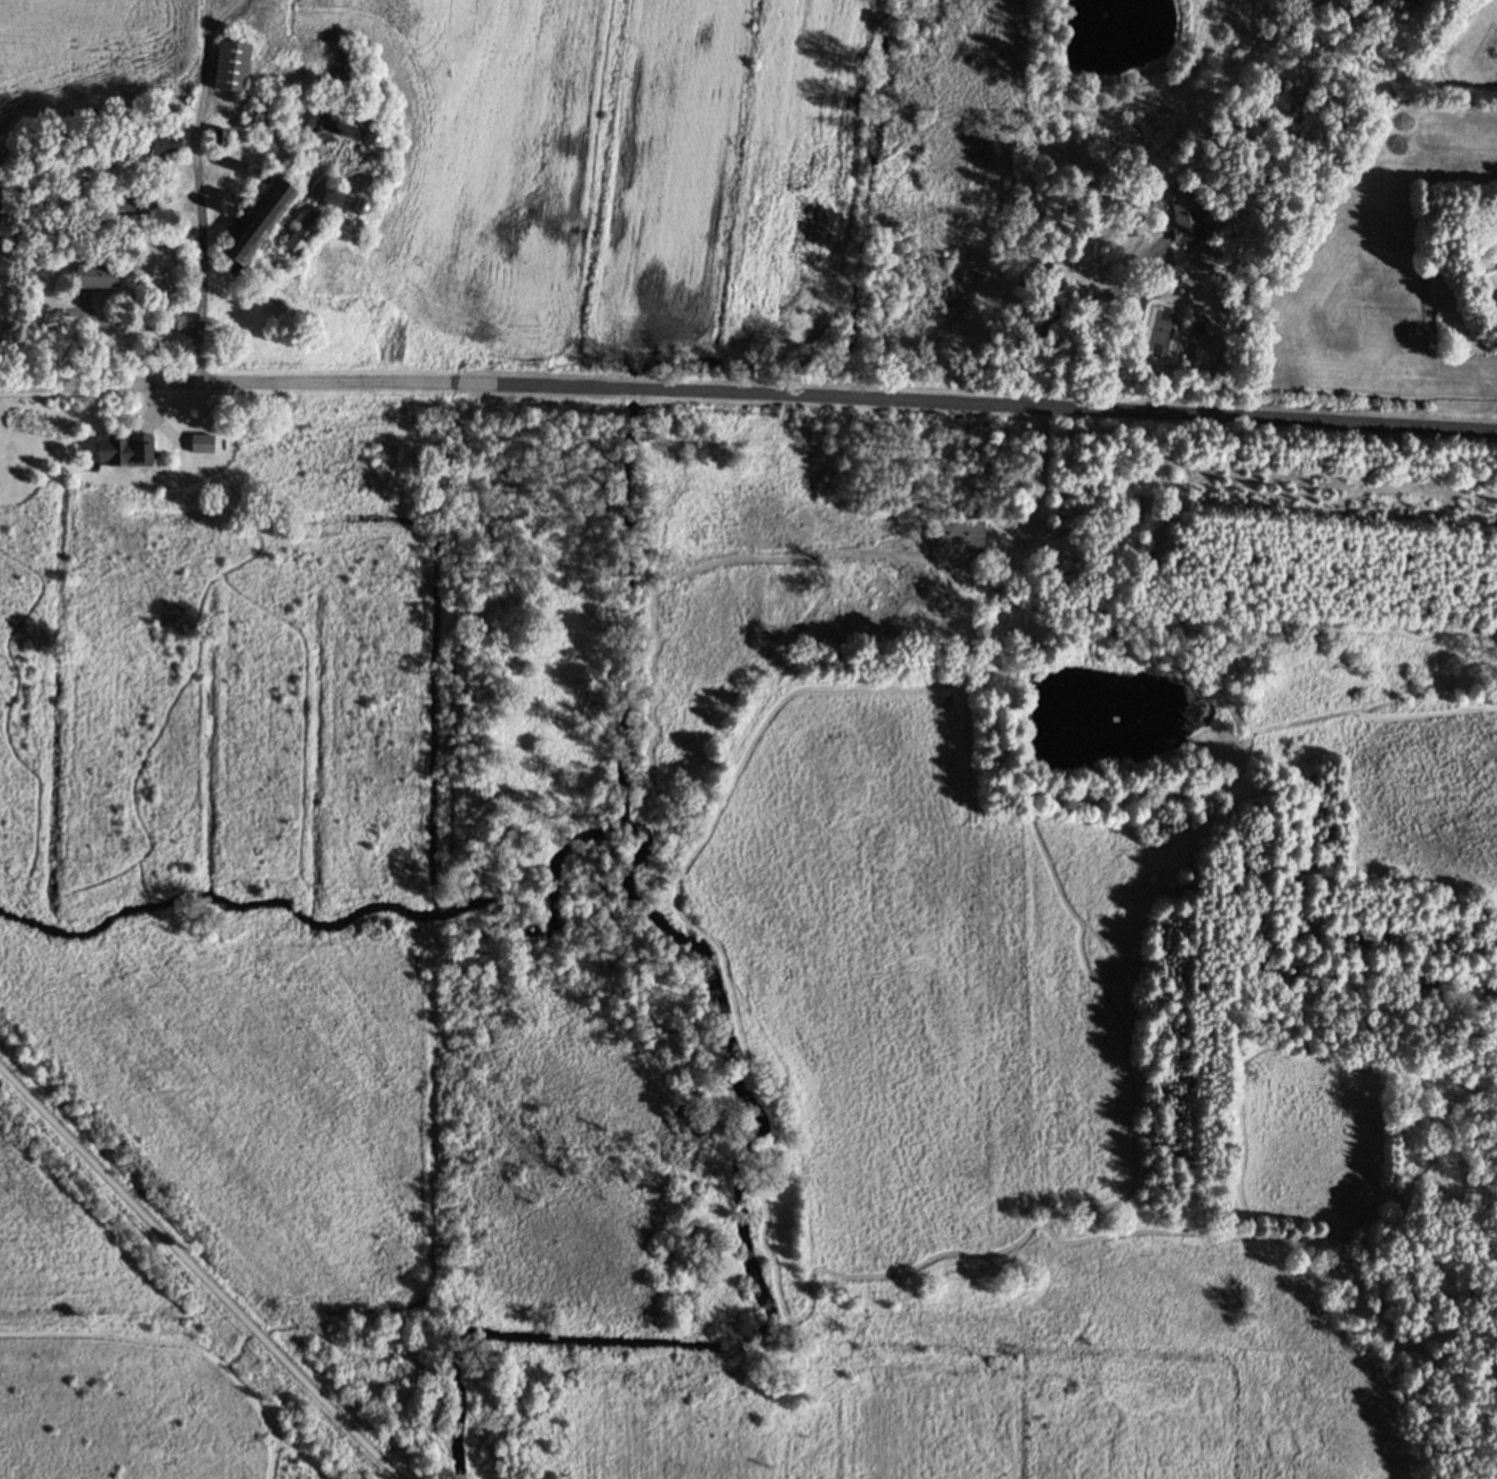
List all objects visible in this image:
building: (231, 64)
building: (342, 67)
building: (186, 96)
building: (259, 112)
building: (318, 126)
building: (219, 135)
building: (151, 144)
building: (134, 208)
building: (1185, 210)
building: (255, 221)
building: (306, 230)
road: (193, 252)
building: (96, 274)
building: (1048, 276)
road: (1114, 286)
road: (126, 325)
road: (748, 394)
building: (202, 441)
building: (123, 449)
road: (1042, 482)
building: (970, 512)
building: (957, 533)
road: (198, 1273)

